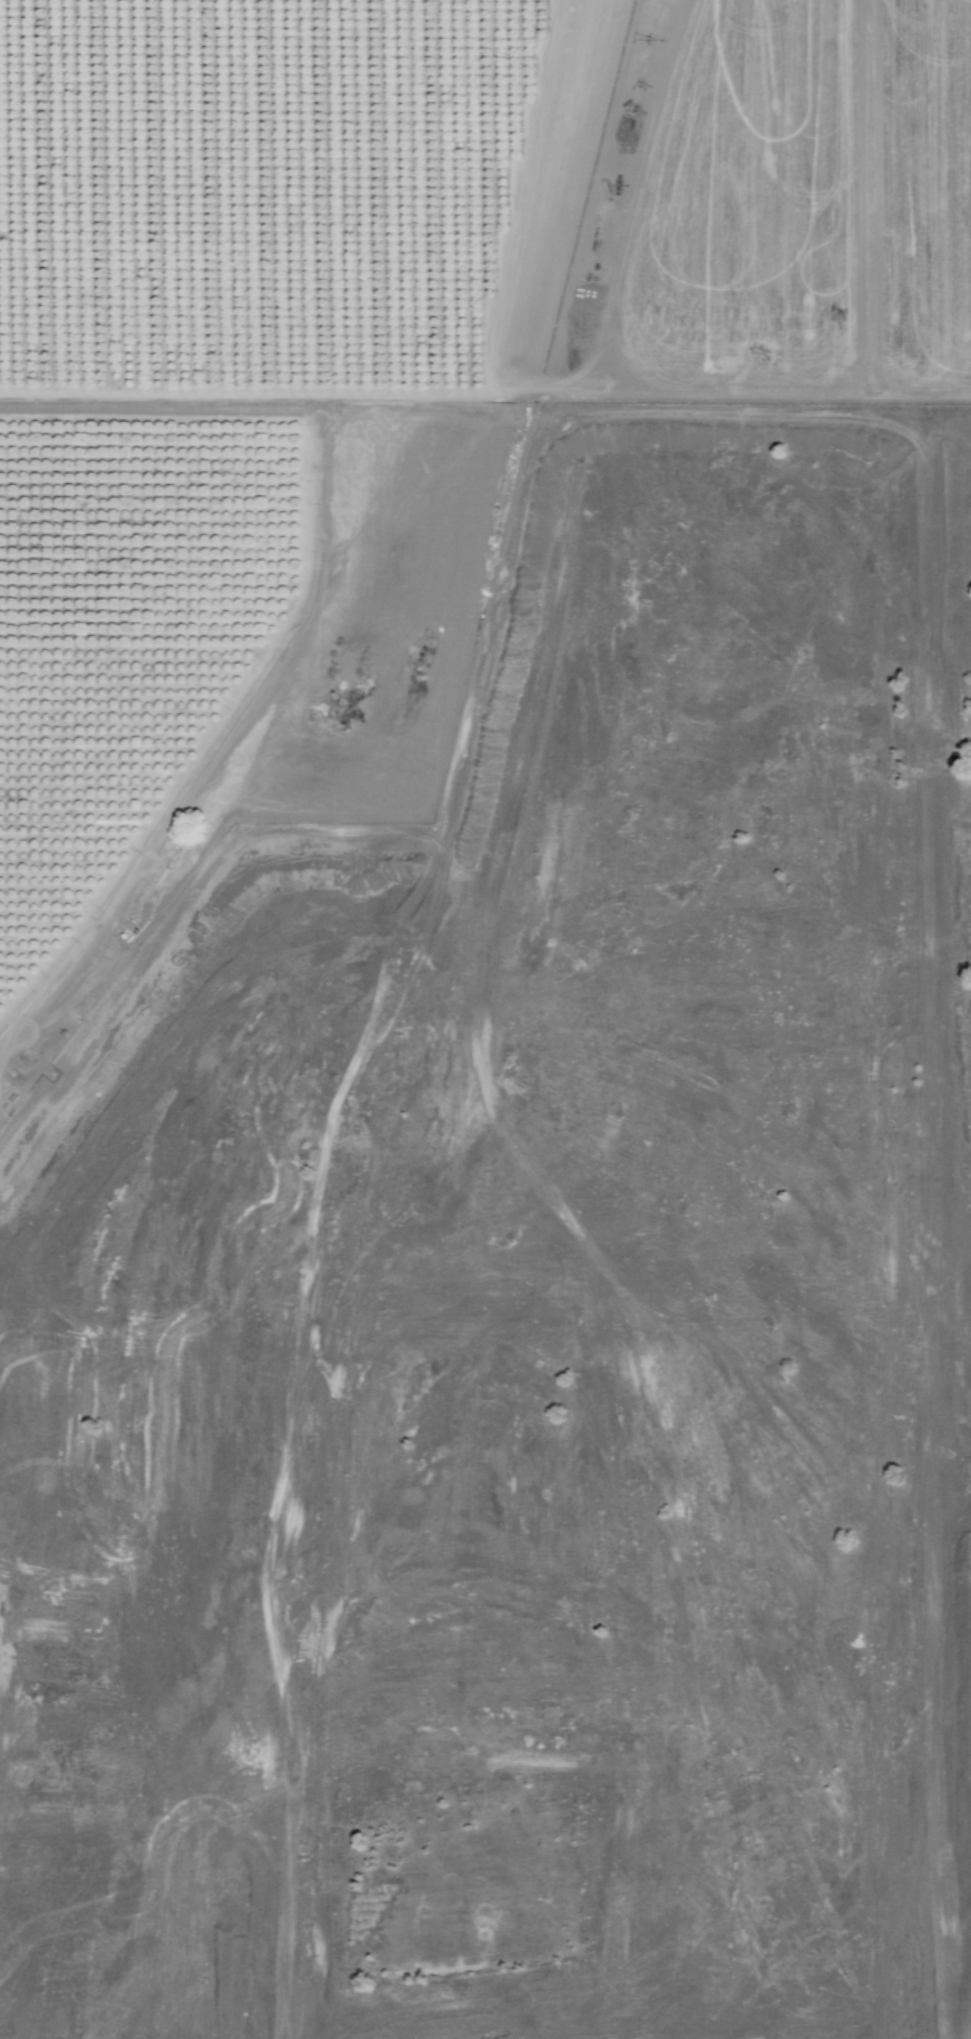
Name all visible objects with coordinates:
quarry: (532, 1321)

